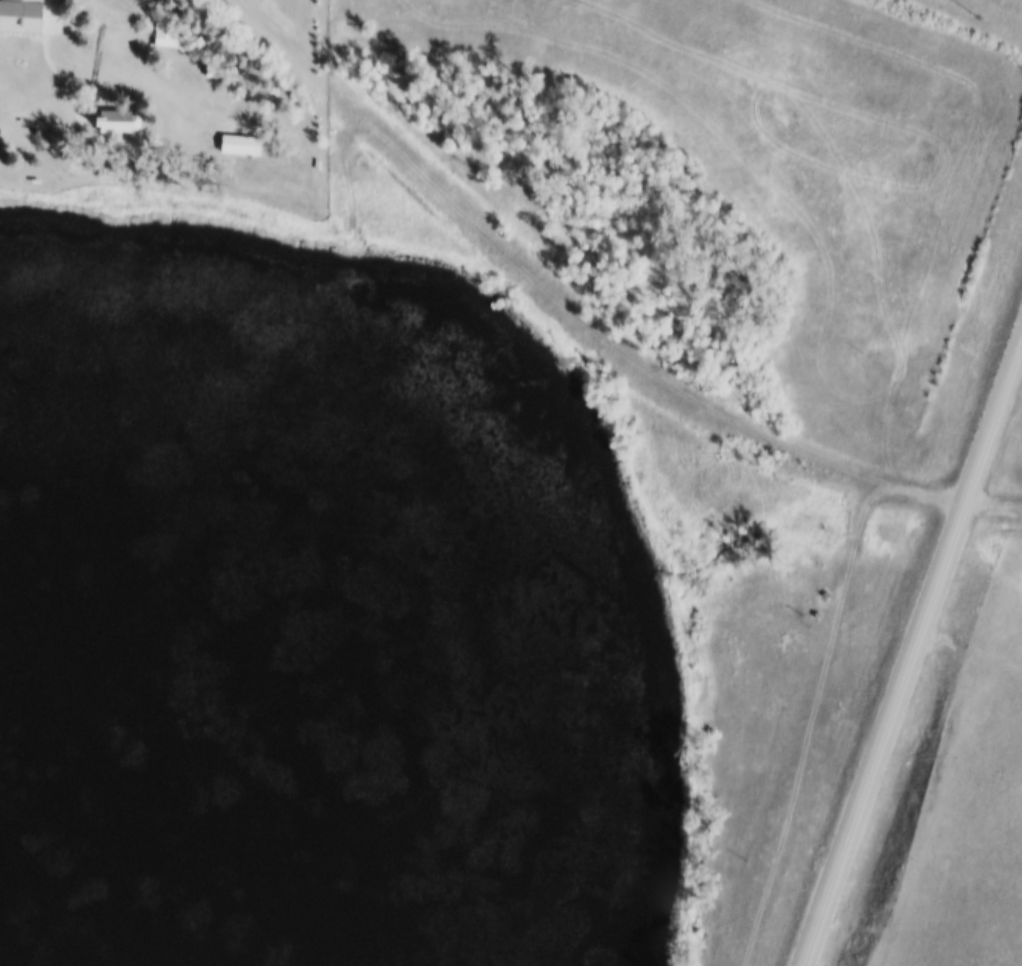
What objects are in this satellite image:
building: (24, 18)
building: (170, 33)
building: (216, 70)
building: (120, 122)
building: (240, 145)
road: (611, 341)
road: (911, 649)
road: (812, 715)

